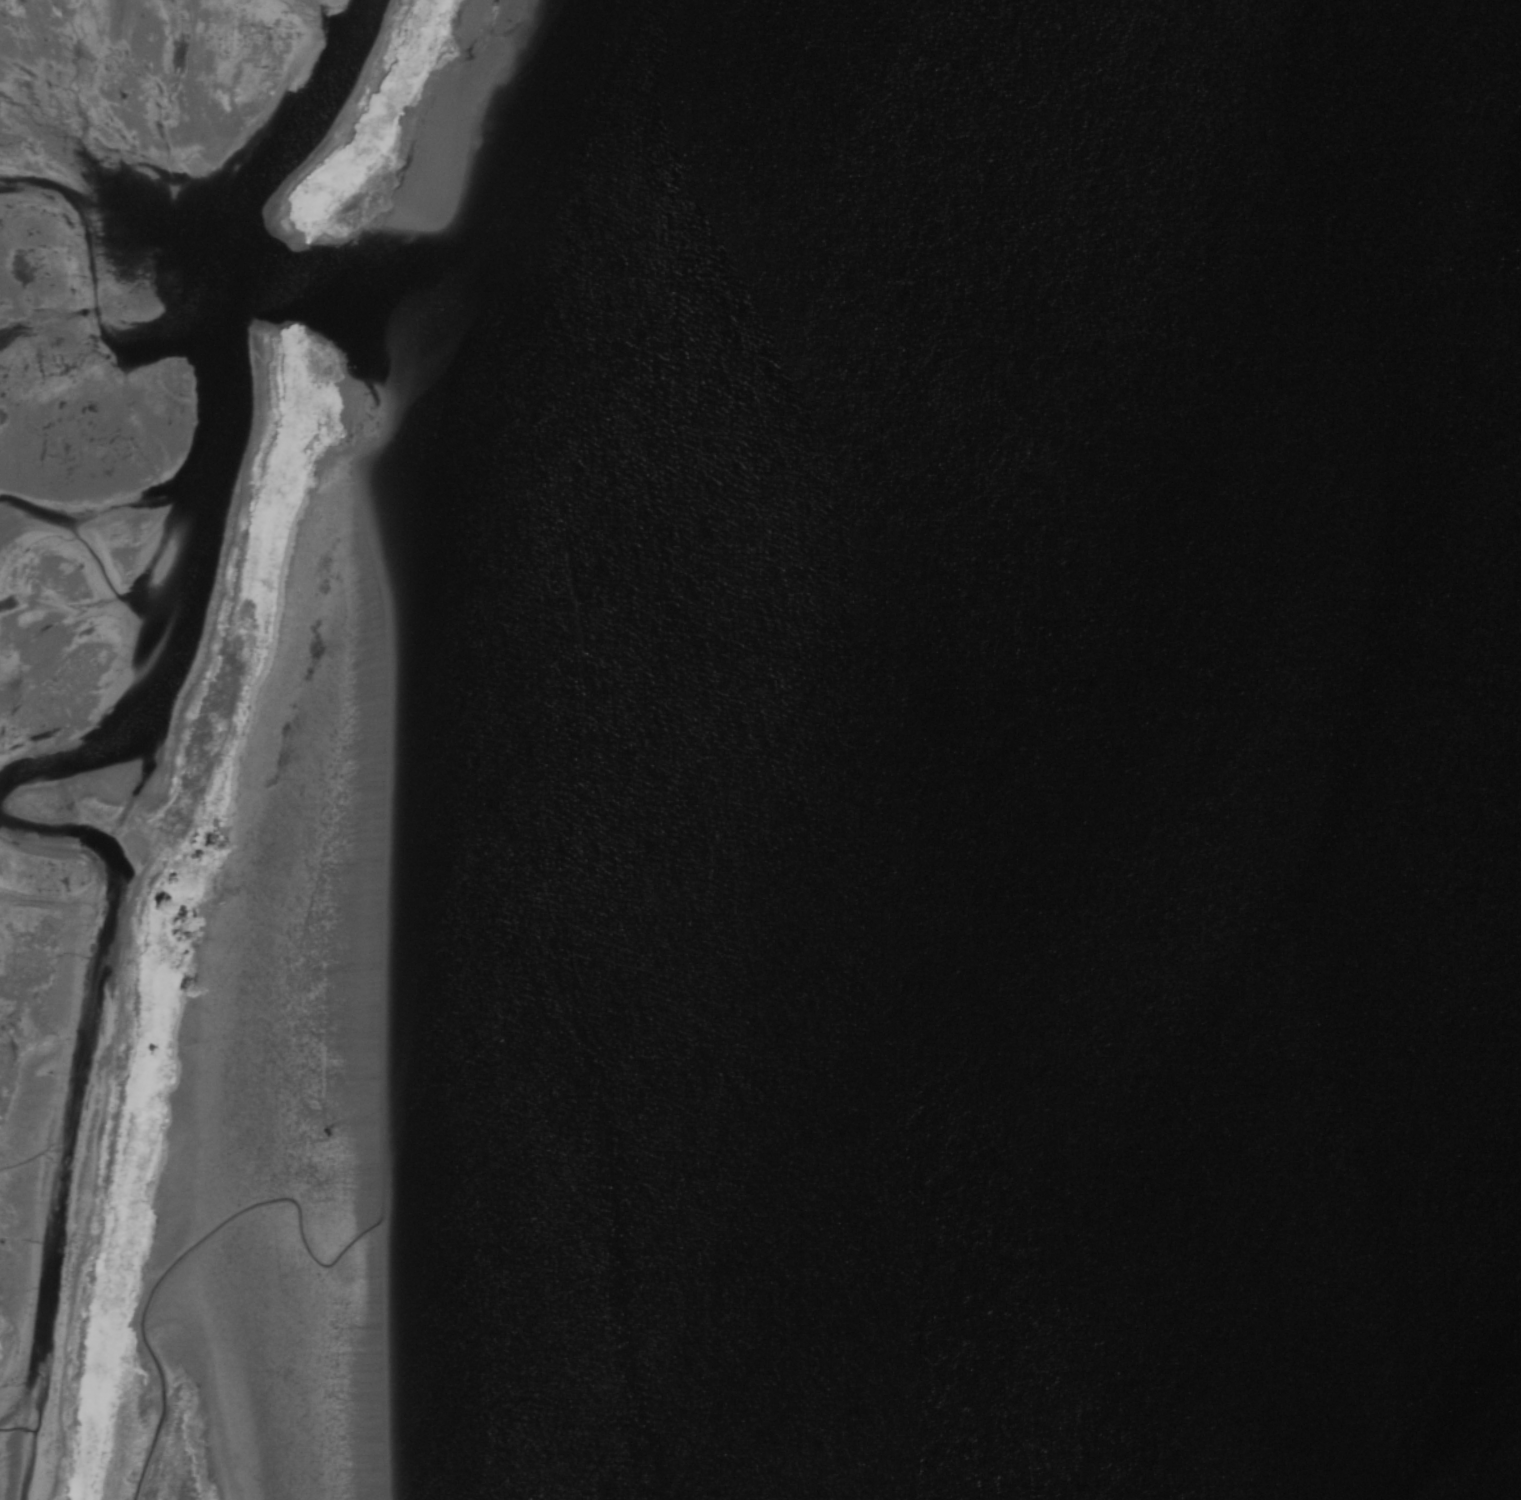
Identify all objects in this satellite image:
river: (999, 749)

